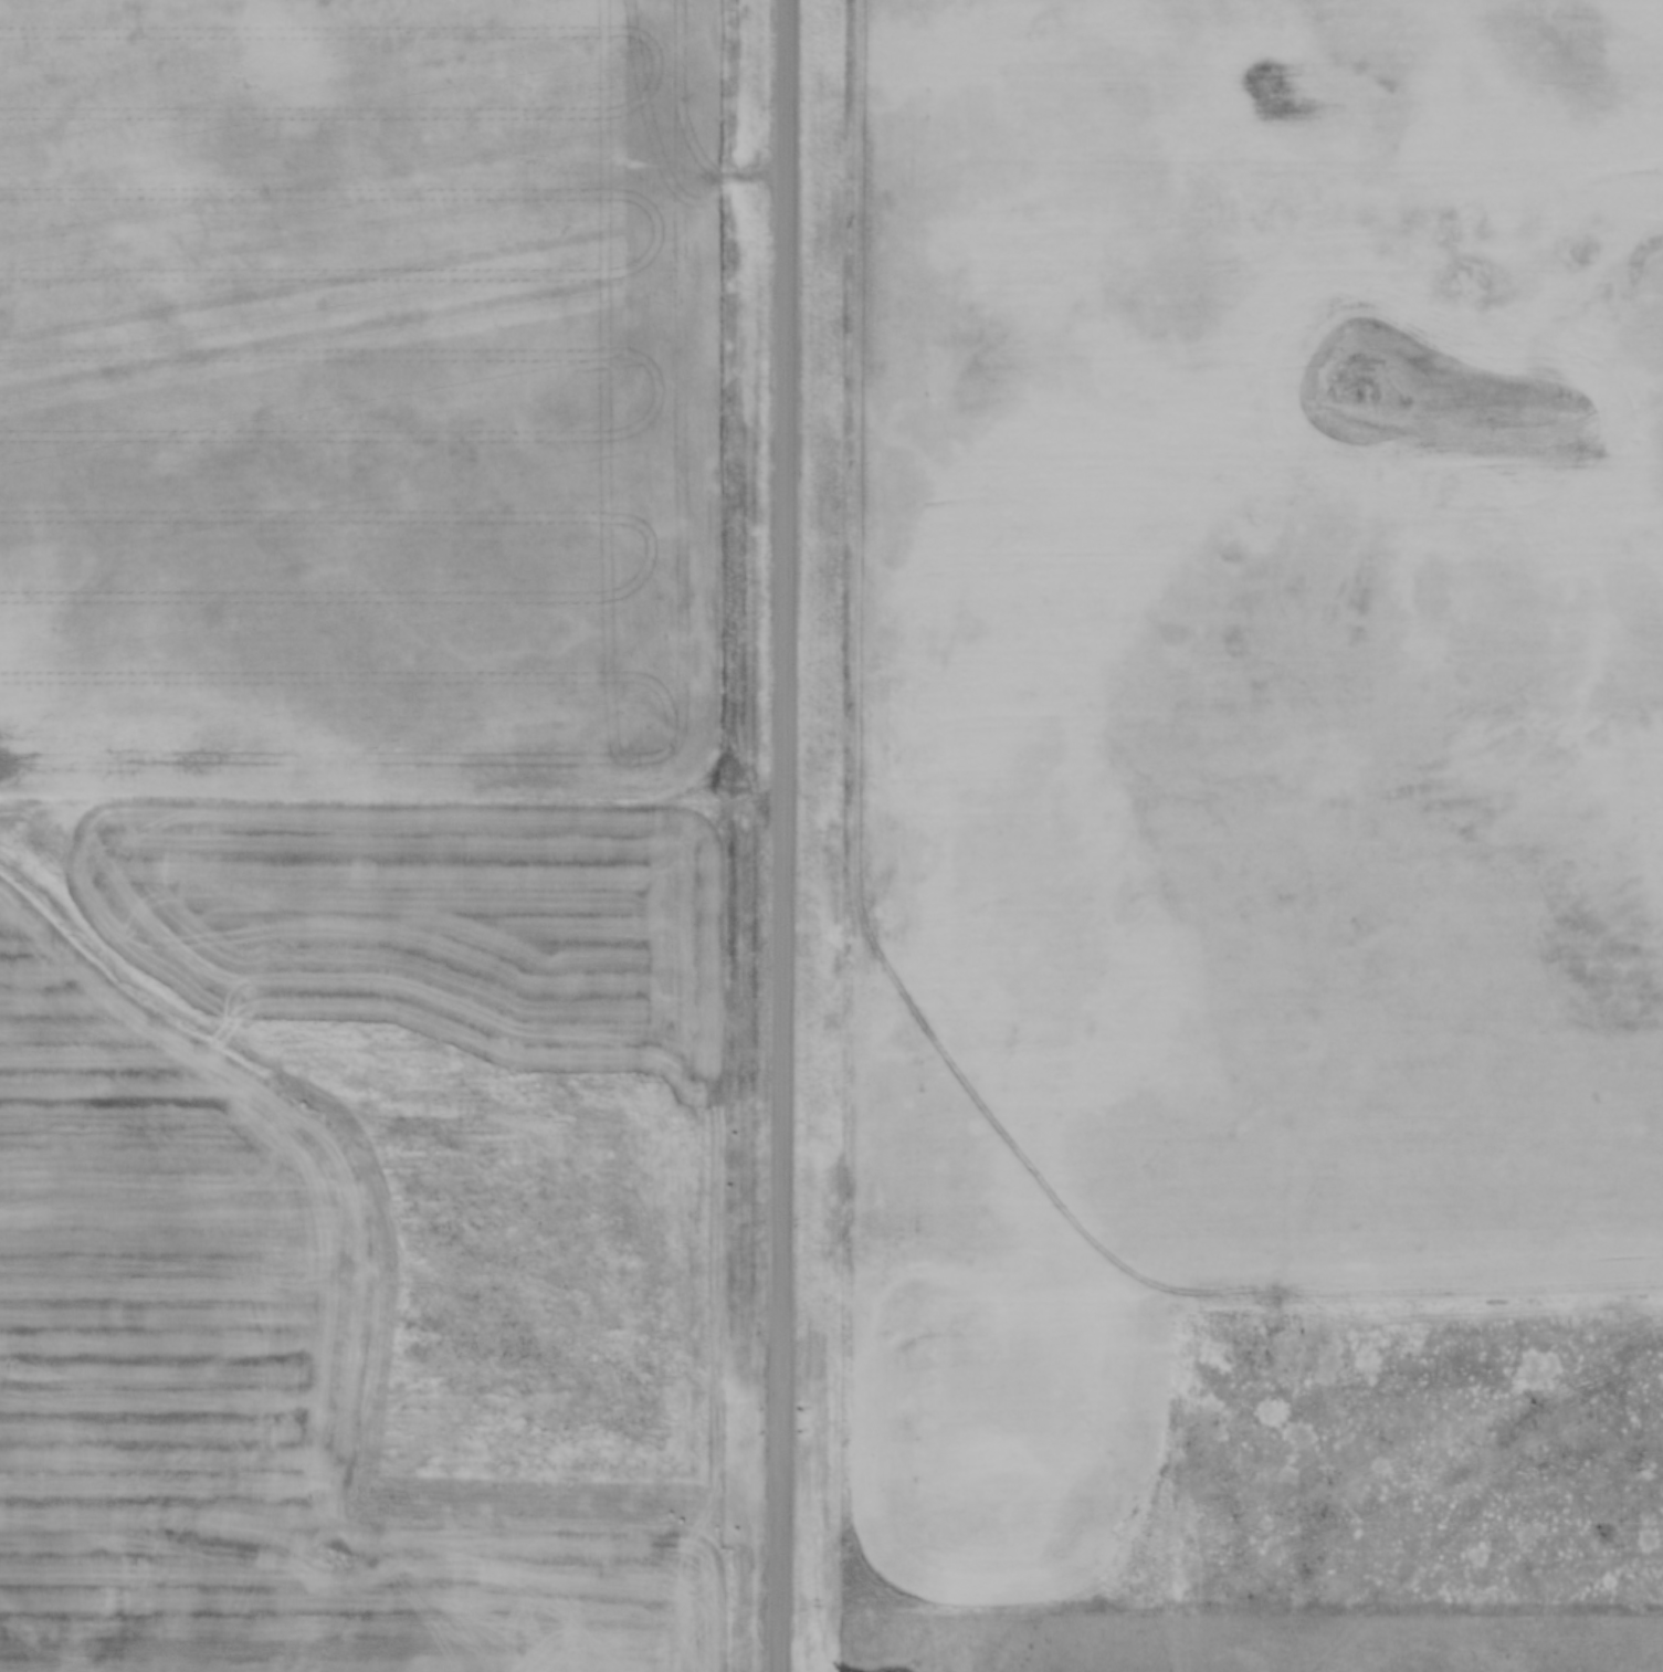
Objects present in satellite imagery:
road: (788, 835)

